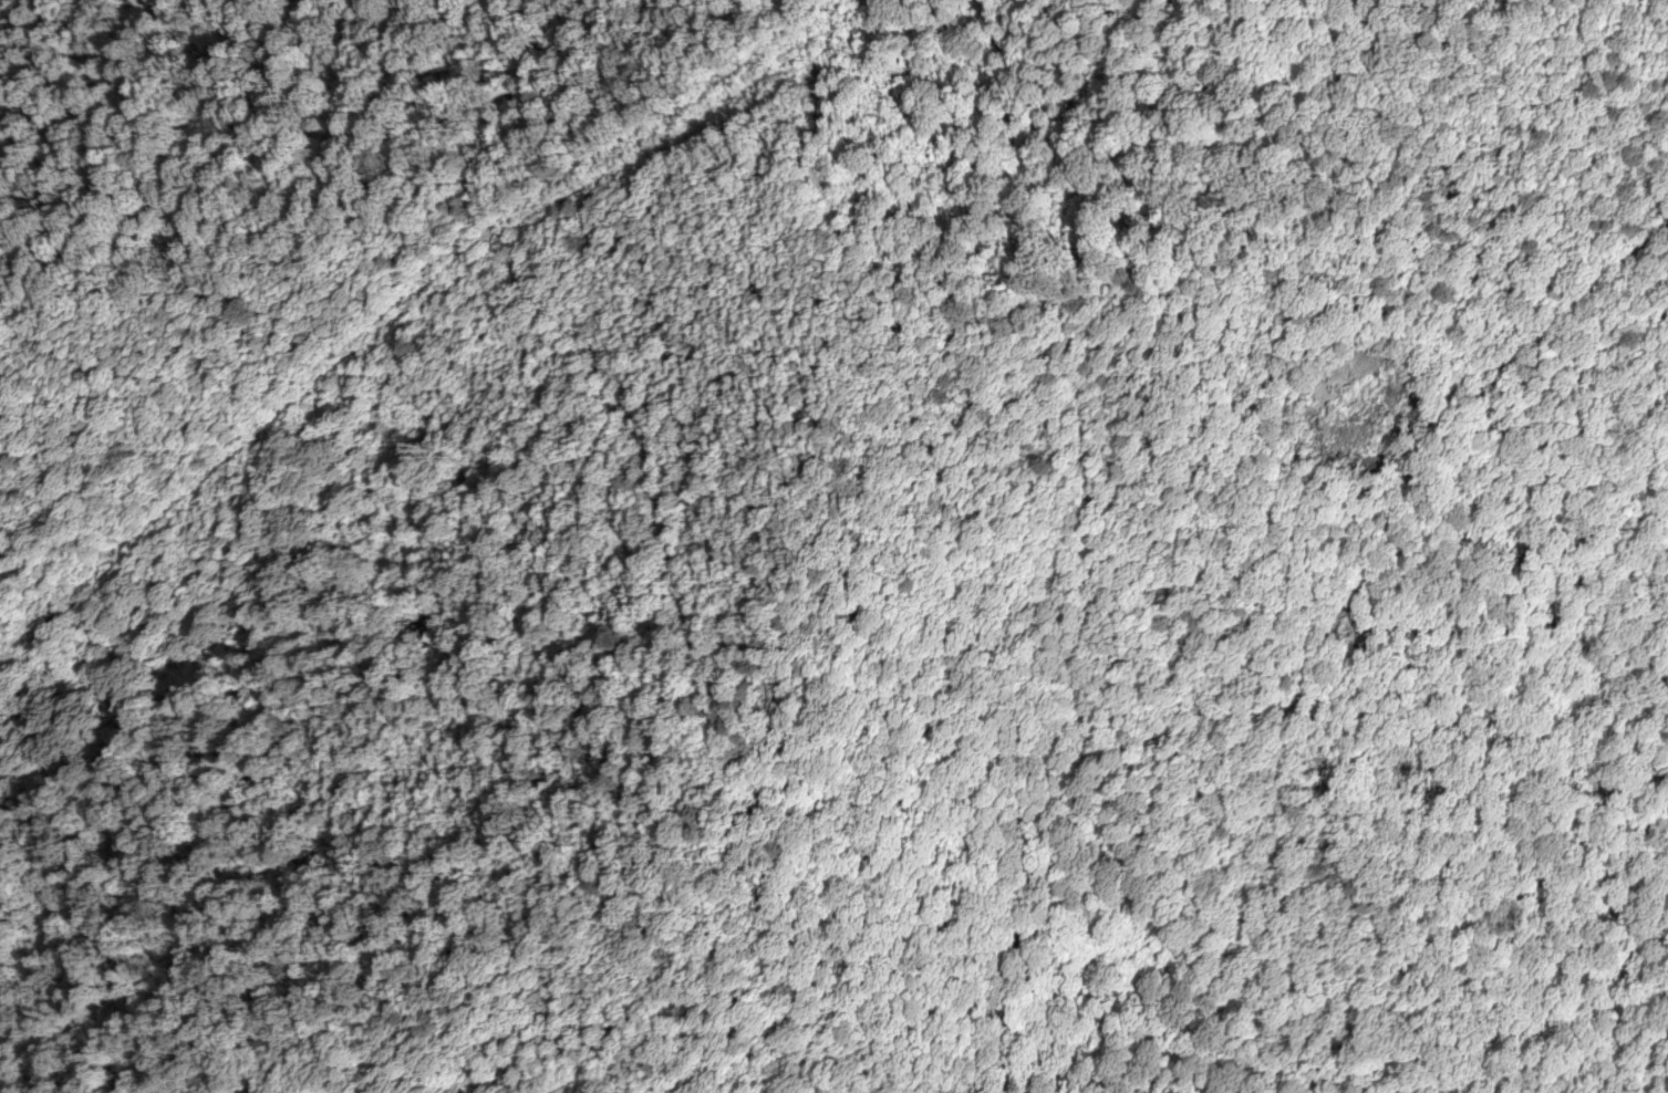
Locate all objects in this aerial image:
road: (1240, 610)

